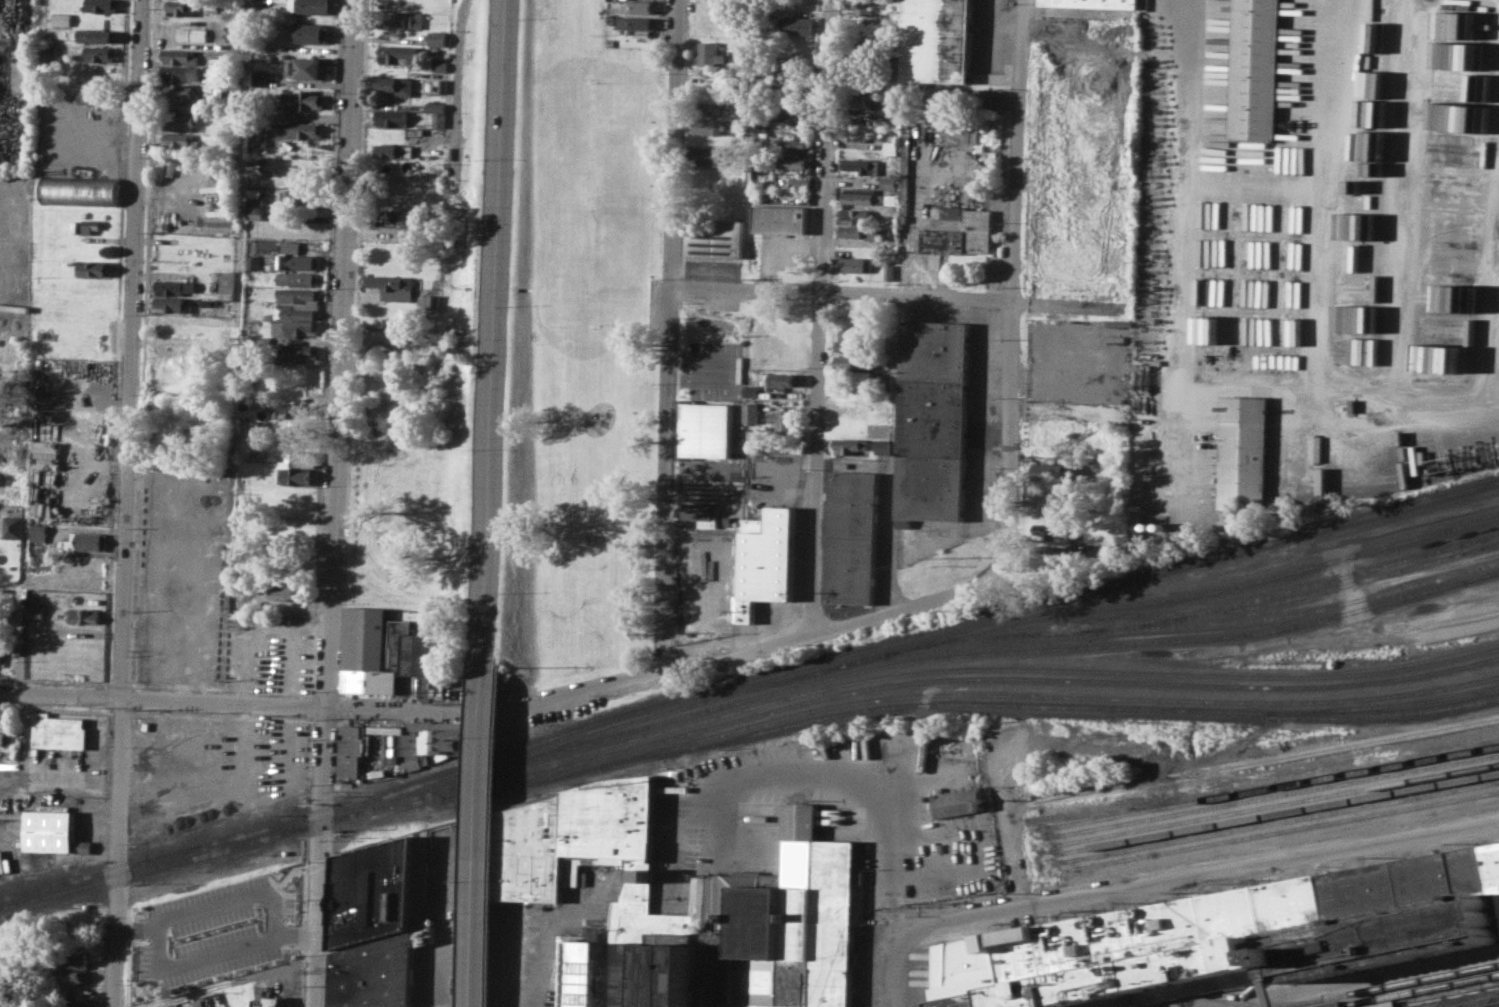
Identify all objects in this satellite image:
building: (281, 0)
building: (1096, 3)
building: (102, 5)
building: (315, 6)
building: (639, 6)
building: (182, 7)
building: (864, 7)
building: (62, 18)
building: (399, 19)
building: (636, 22)
building: (795, 25)
building: (311, 33)
building: (193, 34)
building: (97, 35)
building: (438, 38)
building: (941, 40)
building: (262, 43)
building: (51, 51)
building: (101, 53)
building: (397, 53)
building: (710, 54)
building: (180, 55)
building: (408, 60)
building: (793, 65)
building: (306, 68)
road: (459, 68)
building: (90, 70)
building: (1257, 71)
building: (181, 72)
building: (259, 78)
building: (397, 85)
building: (181, 92)
building: (304, 99)
building: (435, 107)
building: (715, 107)
building: (793, 113)
building: (391, 118)
building: (179, 122)
building: (708, 126)
building: (299, 129)
building: (177, 139)
building: (797, 145)
building: (393, 150)
building: (706, 155)
building: (862, 165)
building: (295, 168)
building: (81, 190)
building: (305, 196)
park: (595, 201)
building: (256, 203)
building: (856, 216)
building: (782, 218)
building: (93, 224)
building: (862, 231)
road: (914, 231)
building: (960, 231)
building: (715, 237)
building: (292, 246)
building: (298, 261)
building: (254, 262)
building: (856, 264)
building: (96, 267)
road: (1014, 276)
building: (299, 277)
building: (224, 282)
building: (175, 286)
building: (391, 286)
road: (886, 293)
building: (297, 294)
building: (431, 301)
building: (208, 302)
building: (173, 303)
building: (297, 312)
road: (820, 316)
building: (171, 324)
building: (290, 328)
road: (493, 332)
road: (669, 333)
building: (850, 341)
park: (584, 349)
road: (237, 352)
building: (299, 352)
building: (170, 355)
building: (858, 366)
building: (782, 379)
building: (297, 409)
building: (752, 412)
building: (934, 417)
building: (784, 421)
building: (248, 426)
building: (708, 429)
building: (851, 445)
building: (883, 445)
building: (1243, 452)
building: (302, 458)
building: (1052, 471)
building: (295, 475)
road: (129, 503)
road: (337, 503)
building: (702, 513)
building: (753, 525)
building: (12, 526)
building: (40, 532)
park: (593, 534)
building: (852, 538)
road: (887, 540)
building: (86, 542)
building: (767, 561)
building: (279, 572)
railway: (1338, 578)
building: (286, 591)
railway: (1302, 596)
building: (35, 612)
building: (84, 615)
railway: (1001, 624)
railway: (1199, 624)
railway: (925, 634)
building: (1, 650)
building: (383, 651)
railway: (961, 654)
road: (497, 655)
railway: (1497, 659)
railway: (920, 672)
railway: (962, 679)
railway: (922, 695)
railway: (1053, 706)
road: (516, 708)
railway: (1392, 714)
building: (58, 730)
building: (2, 737)
building: (352, 752)
road: (870, 786)
railway: (1272, 786)
railway: (1273, 796)
building: (957, 802)
railway: (1274, 804)
railway: (1275, 813)
road: (1004, 820)
railway: (1276, 823)
building: (50, 830)
railway: (1277, 831)
road: (496, 835)
road: (479, 836)
building: (84, 846)
railway: (208, 847)
railway: (178, 850)
railway: (178, 859)
road: (1187, 876)
building: (375, 891)
railway: (33, 892)
road: (229, 903)
building: (794, 917)
building: (1240, 939)
road: (198, 957)
building: (74, 962)
road: (514, 964)
building: (576, 969)
building: (374, 973)
building: (657, 976)
building: (74, 978)
building: (723, 982)
road: (222, 983)
road: (893, 985)
railway: (1388, 985)
railway: (1417, 991)
building: (275, 996)
building: (285, 996)
railway: (1448, 997)
building: (258, 1002)
building: (78, 1004)
railway: (1245, 1004)
building: (1485, 1004)
building: (181, 1006)
building: (1360, 1006)

